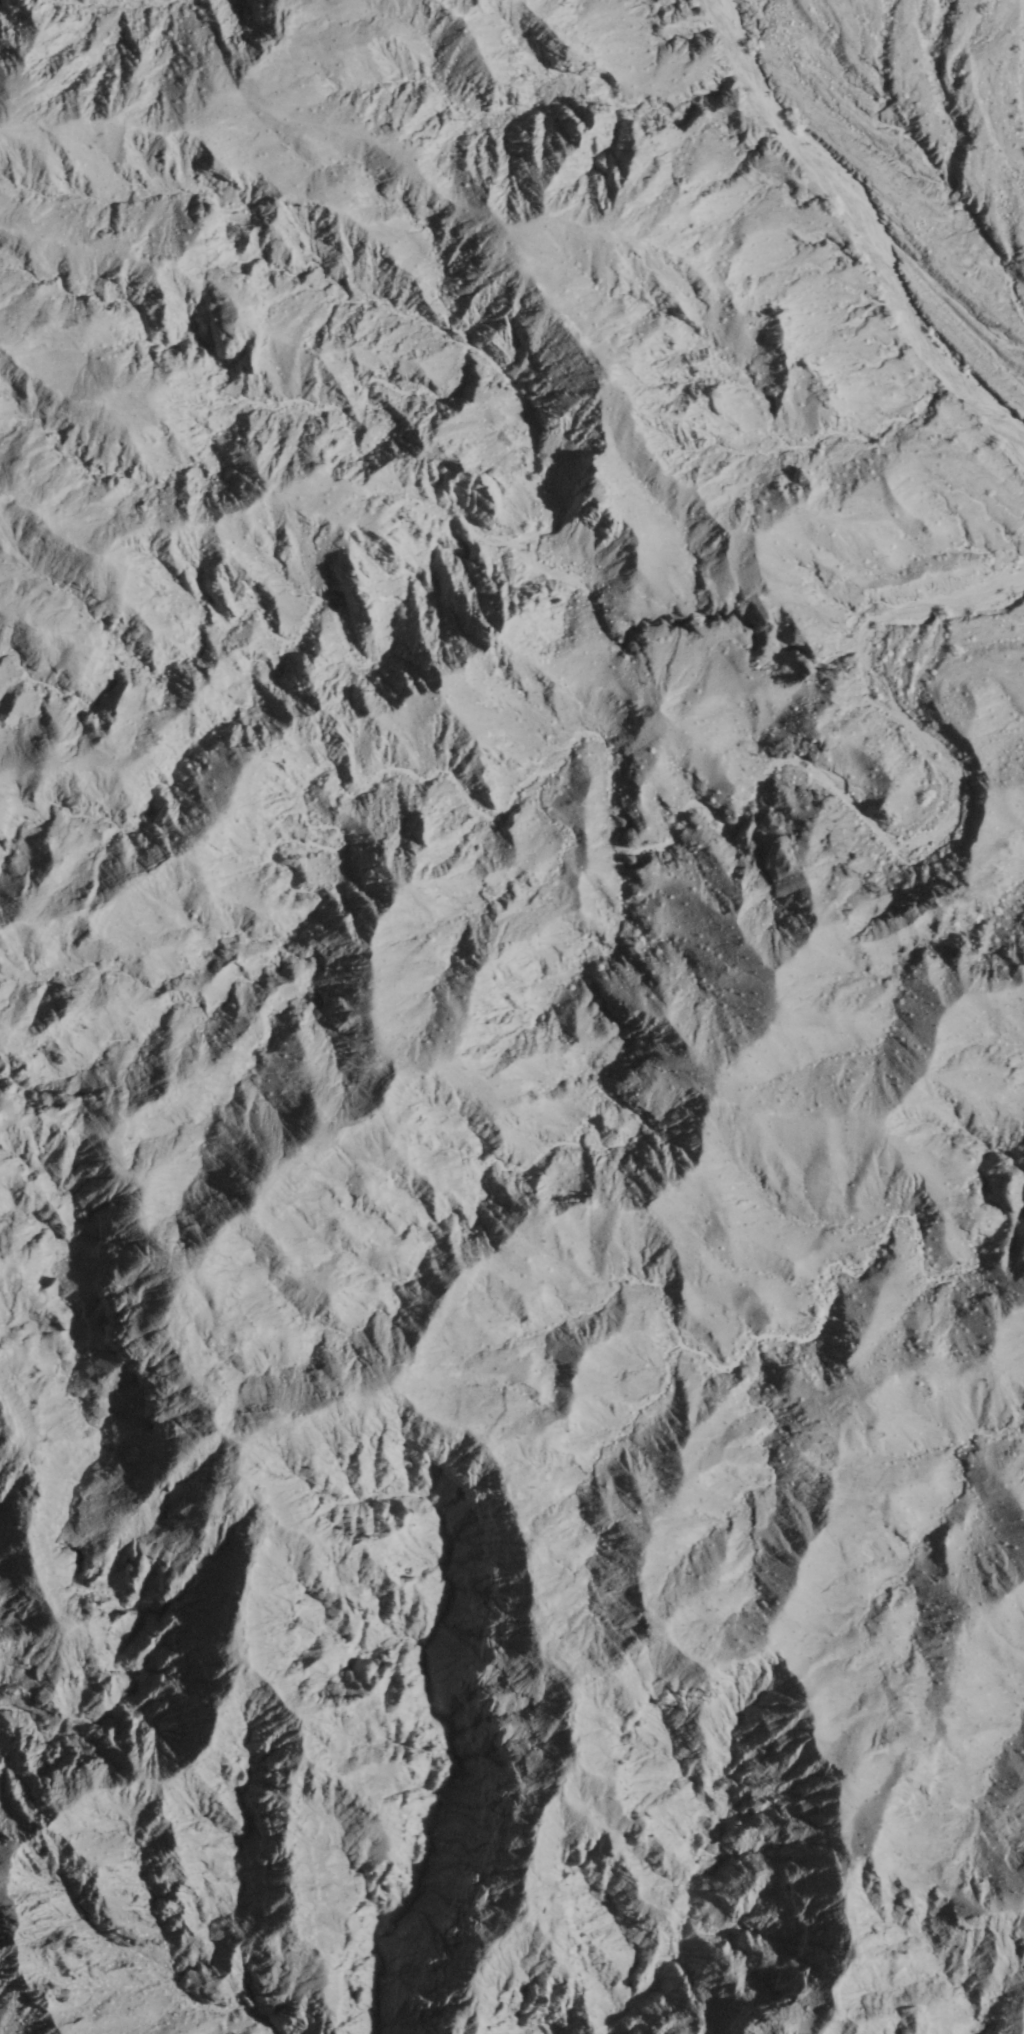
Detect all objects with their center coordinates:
road: (465, 540)

